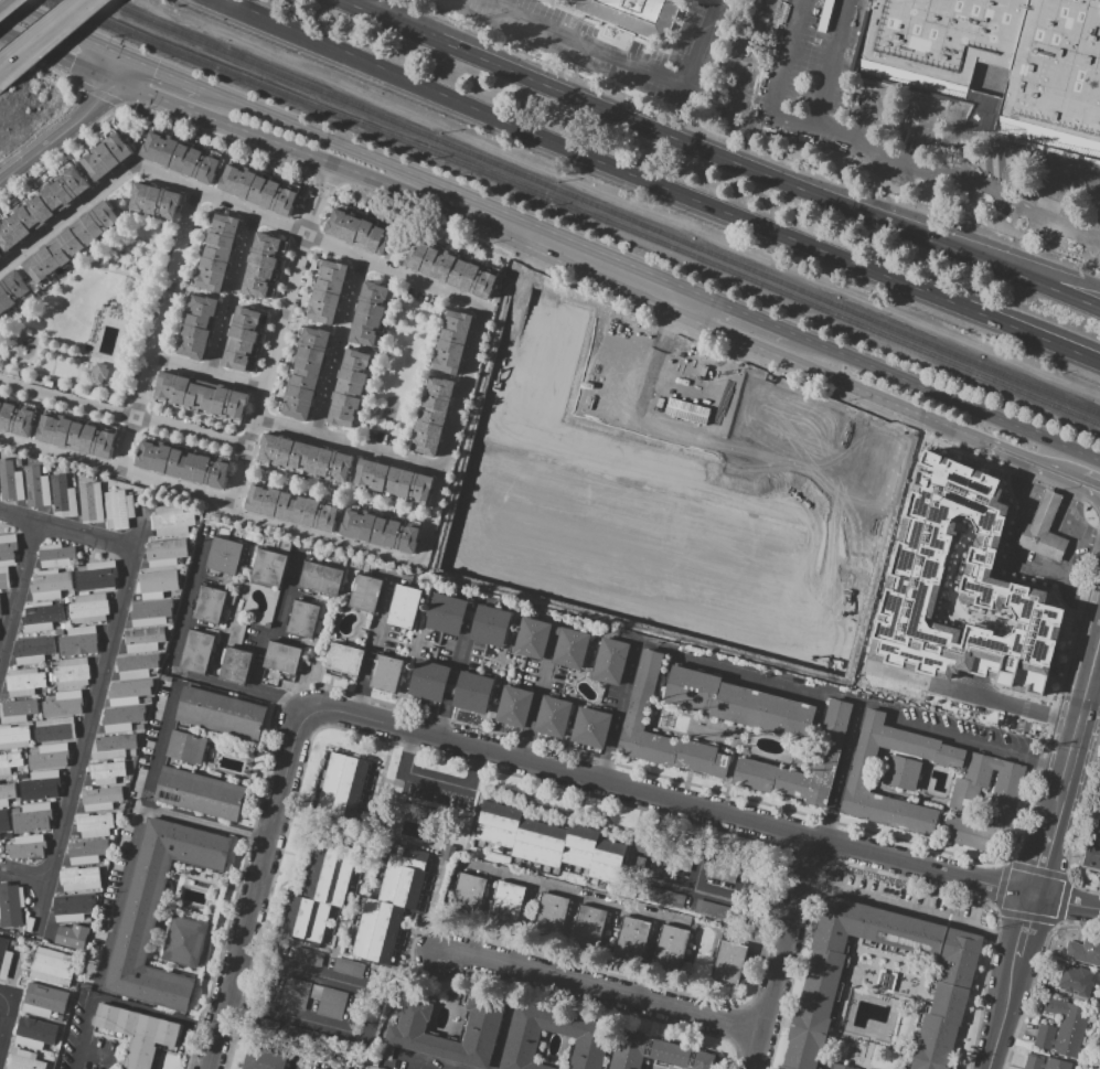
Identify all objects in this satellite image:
road: (0, 0)
road: (380, 11)
building: (634, 17)
road: (61, 33)
road: (43, 35)
road: (623, 57)
traffic signals: (122, 60)
building: (997, 61)
road: (830, 62)
road: (161, 75)
traffic signals: (113, 83)
road: (867, 114)
road: (70, 127)
road: (911, 135)
road: (882, 151)
road: (595, 154)
road: (718, 154)
building: (107, 157)
building: (180, 158)
road: (997, 168)
building: (258, 189)
road: (452, 190)
road: (1053, 191)
building: (153, 202)
railway: (599, 207)
building: (42, 209)
railway: (576, 211)
road: (66, 217)
building: (357, 232)
road: (496, 232)
road: (309, 235)
building: (73, 245)
building: (217, 253)
building: (0, 258)
building: (0, 260)
building: (264, 266)
building: (452, 270)
road: (1058, 284)
building: (328, 292)
building: (12, 293)
road: (231, 295)
building: (370, 313)
road: (747, 313)
building: (196, 325)
road: (156, 329)
park: (79, 330)
road: (276, 335)
road: (1034, 336)
building: (243, 338)
building: (451, 342)
road: (337, 345)
park: (401, 368)
building: (98, 373)
building: (307, 374)
road: (204, 375)
building: (350, 388)
road: (946, 397)
building: (200, 398)
road: (122, 415)
building: (432, 415)
building: (15, 417)
building: (776, 419)
building: (75, 435)
road: (450, 436)
road: (348, 442)
building: (865, 453)
building: (305, 459)
road: (1034, 459)
building: (182, 464)
building: (44, 470)
building: (70, 473)
building: (393, 480)
building: (10, 482)
road: (1089, 482)
building: (72, 483)
building: (36, 488)
road: (1089, 489)
road: (1074, 495)
building: (62, 496)
road: (211, 496)
building: (90, 502)
road: (1049, 503)
building: (936, 504)
building: (117, 509)
building: (291, 509)
building: (1046, 510)
gas station: (1046, 510)
building: (720, 520)
building: (171, 522)
road: (67, 528)
building: (193, 531)
building: (380, 531)
building: (755, 532)
road: (227, 534)
building: (191, 537)
building: (1043, 542)
building: (786, 546)
building: (7, 548)
building: (165, 553)
building: (818, 553)
building: (55, 555)
building: (225, 556)
building: (78, 563)
building: (852, 565)
building: (268, 567)
road: (1068, 567)
building: (96, 576)
building: (4, 578)
building: (320, 579)
building: (157, 584)
building: (49, 585)
road: (18, 588)
building: (365, 591)
building: (73, 592)
building: (65, 599)
road: (1080, 601)
building: (211, 605)
building: (404, 606)
building: (167, 607)
building: (88, 608)
building: (147, 614)
building: (446, 614)
building: (41, 617)
building: (302, 619)
road: (277, 624)
building: (490, 624)
building: (63, 626)
building: (58, 631)
building: (961, 631)
building: (532, 639)
building: (143, 640)
building: (77, 641)
building: (754, 646)
building: (570, 648)
building: (33, 650)
building: (197, 651)
building: (282, 658)
building: (344, 659)
building: (46, 661)
building: (610, 661)
building: (53, 663)
building: (136, 665)
building: (235, 666)
building: (72, 672)
road: (1094, 672)
building: (387, 674)
building: (50, 676)
road: (451, 678)
building: (428, 680)
road: (783, 681)
building: (24, 682)
building: (153, 682)
building: (47, 691)
building: (472, 692)
building: (127, 693)
building: (642, 693)
road: (536, 699)
building: (63, 703)
building: (738, 703)
road: (1002, 704)
building: (514, 706)
building: (17, 710)
building: (221, 713)
building: (553, 716)
building: (32, 717)
road: (90, 717)
building: (121, 719)
building: (30, 723)
building: (591, 727)
building: (55, 728)
building: (138, 728)
road: (1087, 728)
road: (1071, 736)
building: (14, 737)
building: (111, 747)
building: (186, 747)
building: (829, 749)
building: (132, 753)
building: (51, 755)
road: (1083, 758)
building: (9, 763)
building: (33, 768)
building: (24, 769)
road: (842, 770)
building: (107, 772)
building: (901, 772)
building: (23, 777)
building: (859, 780)
road: (438, 781)
building: (126, 784)
building: (41, 785)
building: (348, 788)
parking lot: (436, 789)
building: (200, 792)
building: (7, 793)
building: (1004, 798)
building: (100, 799)
building: (15, 803)
building: (119, 806)
road: (704, 808)
building: (31, 819)
building: (3, 821)
building: (1098, 823)
building: (94, 824)
road: (136, 832)
building: (114, 833)
building: (9, 835)
building: (548, 846)
building: (29, 848)
building: (86, 853)
building: (679, 855)
building: (1096, 856)
building: (105, 862)
road: (1035, 865)
building: (722, 867)
road: (24, 873)
building: (78, 878)
road: (679, 885)
road: (254, 889)
building: (325, 892)
building: (468, 894)
building: (663, 897)
building: (505, 902)
building: (391, 904)
building: (10, 906)
building: (73, 907)
road: (909, 910)
building: (156, 912)
building: (719, 912)
building: (549, 915)
building: (87, 920)
road: (1022, 924)
building: (587, 927)
building: (71, 936)
building: (633, 940)
building: (184, 941)
building: (671, 947)
building: (1085, 950)
road: (778, 952)
building: (308, 956)
building: (4, 959)
road: (25, 962)
building: (729, 962)
building: (52, 965)
building: (349, 968)
building: (1077, 981)
building: (820, 986)
building: (904, 986)
road: (600, 987)
building: (293, 994)
building: (43, 999)
parking lot: (325, 1003)
building: (331, 1004)
road: (119, 1005)
road: (1002, 1012)
road: (9, 1015)
road: (371, 1016)
building: (266, 1026)
building: (1062, 1028)
building: (405, 1029)
building: (34, 1033)
building: (136, 1033)
building: (296, 1034)
building: (584, 1035)
building: (323, 1040)
building: (660, 1054)
building: (263, 1059)
building: (23, 1060)
road: (427, 1060)
building: (1045, 1062)
building: (841, 1067)
building: (322, 1068)

